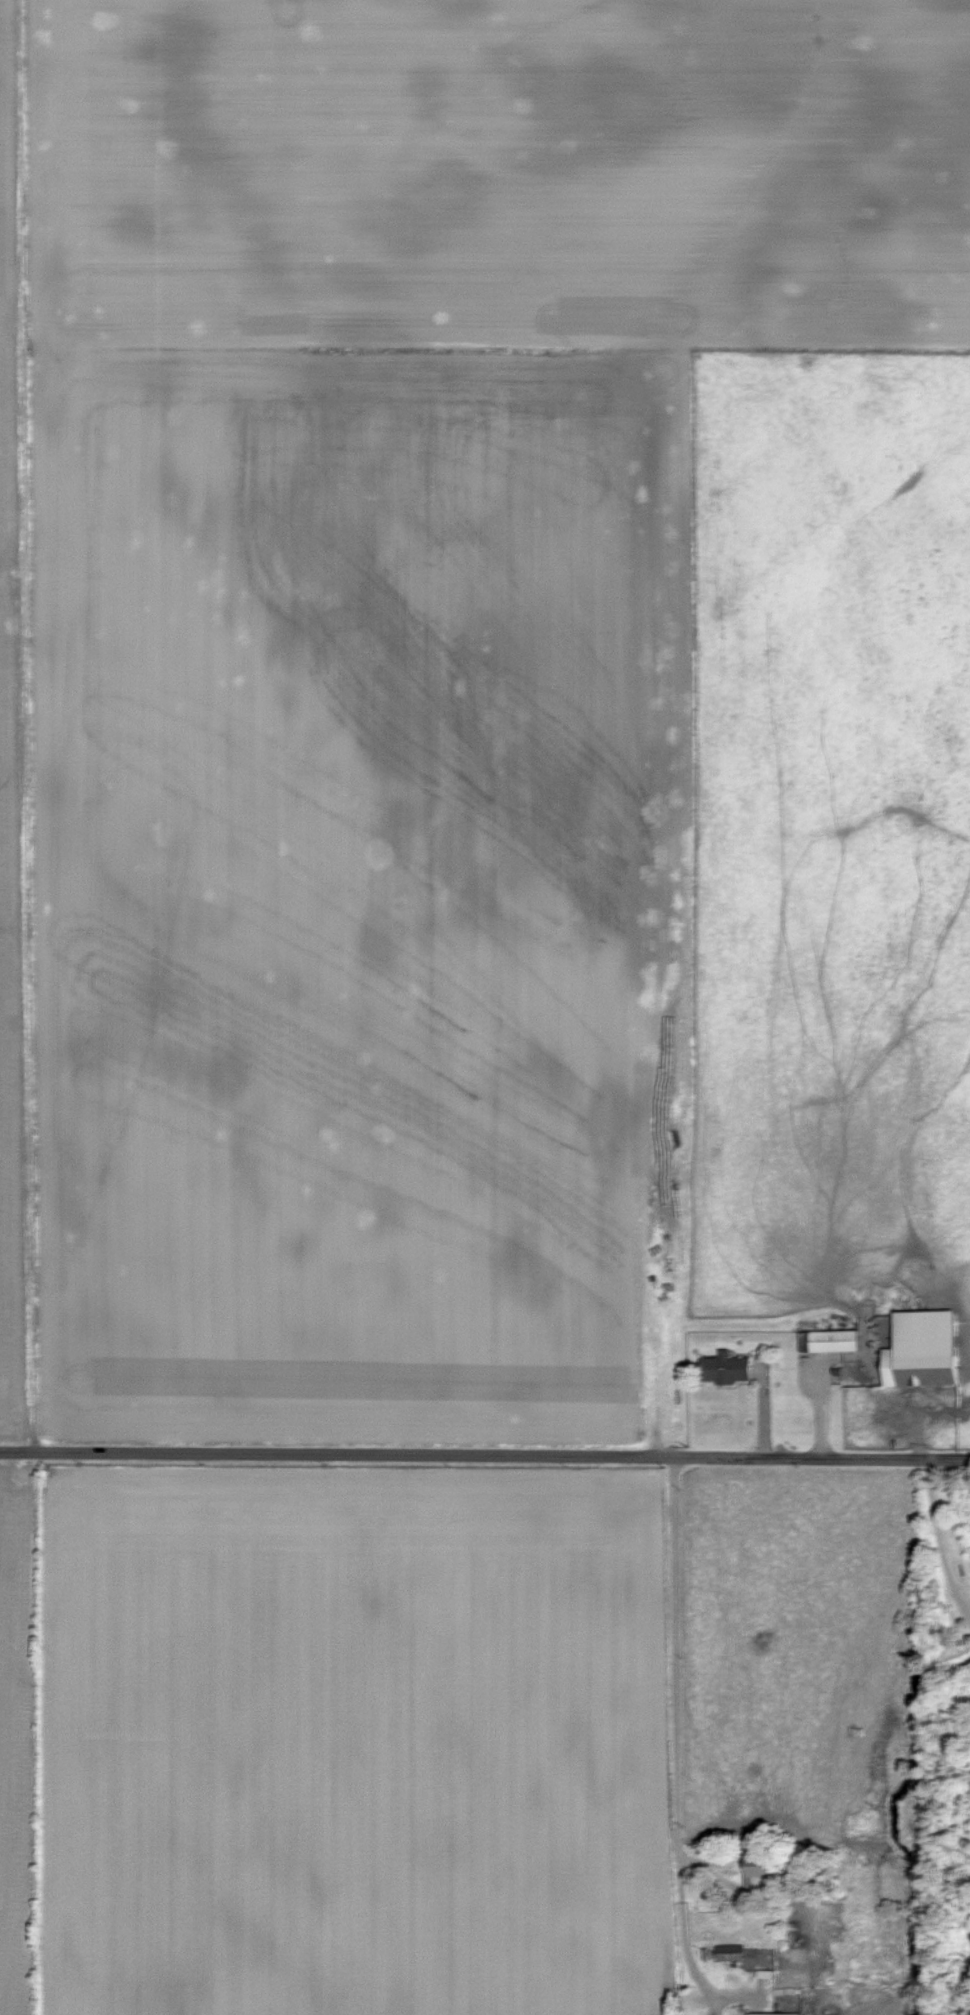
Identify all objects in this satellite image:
road: (29, 721)
building: (826, 1342)
building: (921, 1349)
building: (723, 1369)
road: (484, 1452)
road: (938, 1543)
road: (681, 1736)
building: (753, 1879)
building: (726, 1953)

